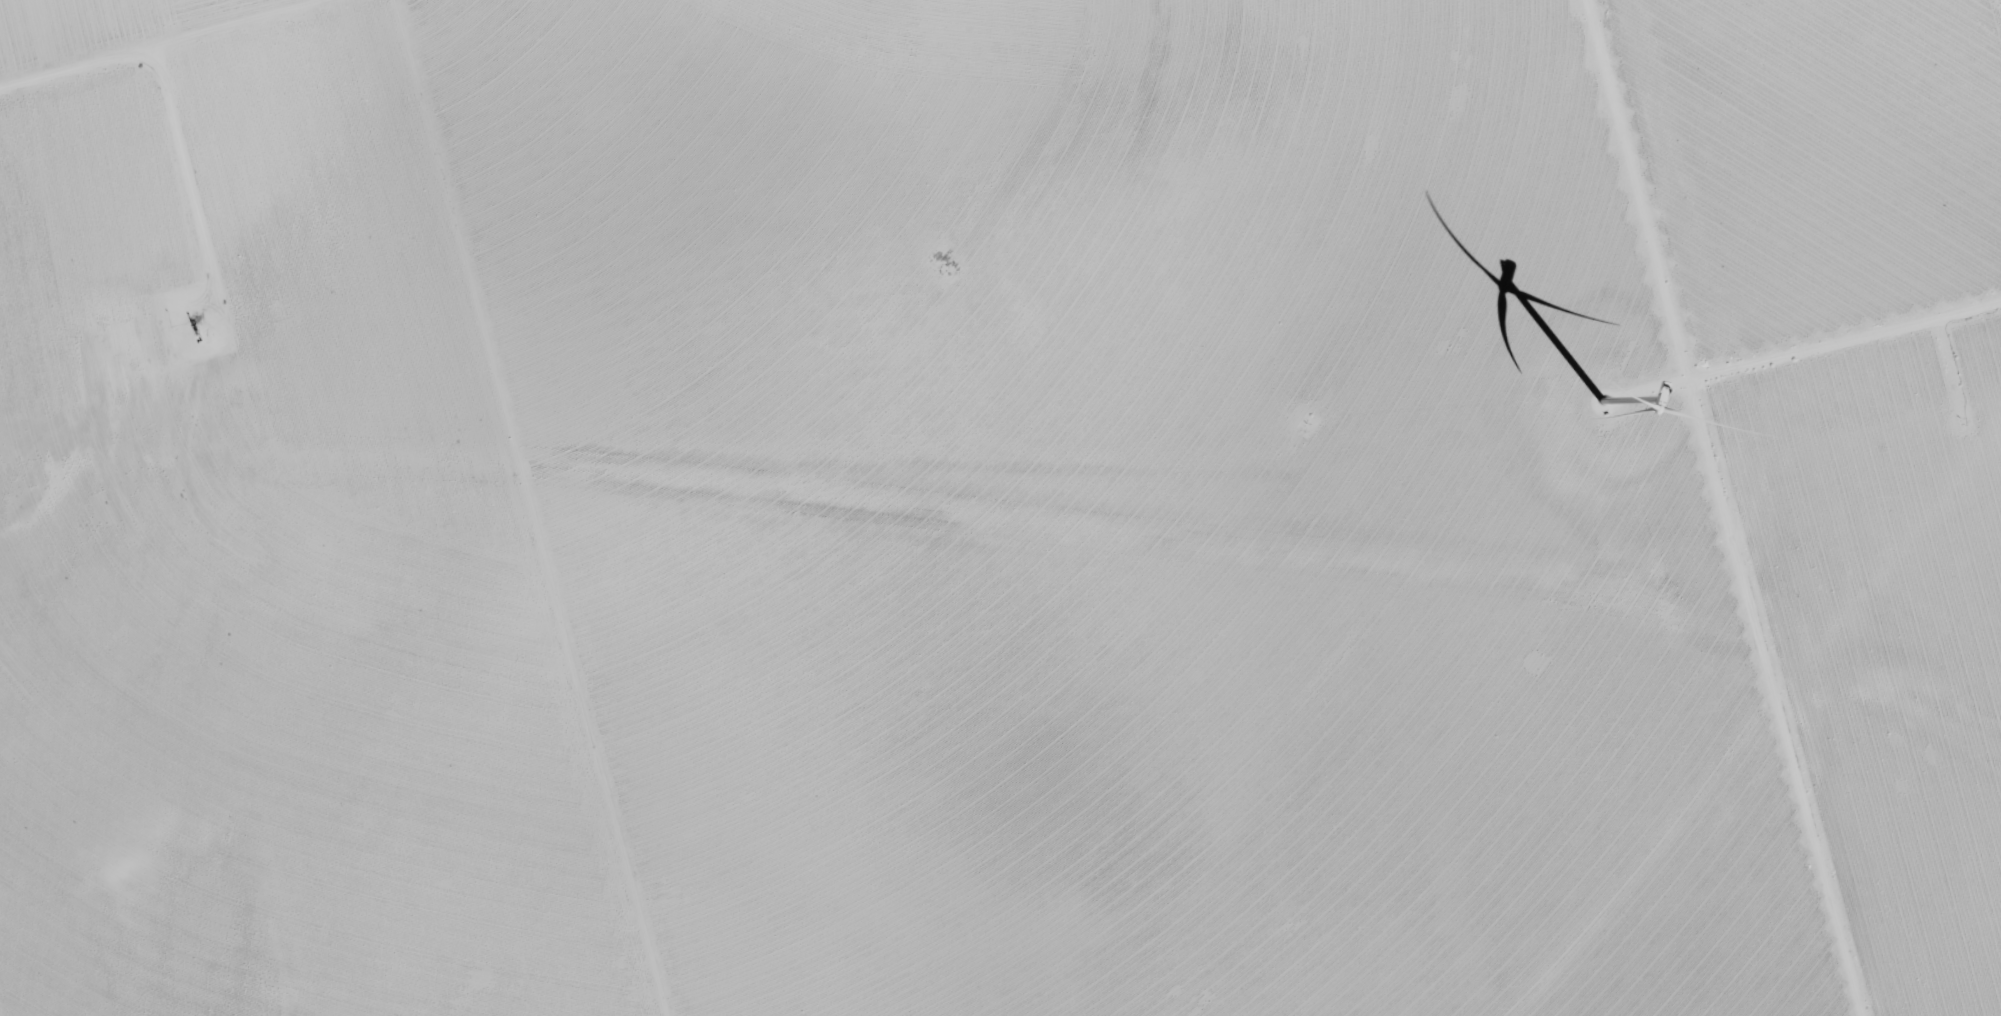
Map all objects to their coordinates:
wind turbine: (1604, 382)
road: (510, 485)
road: (1693, 513)

